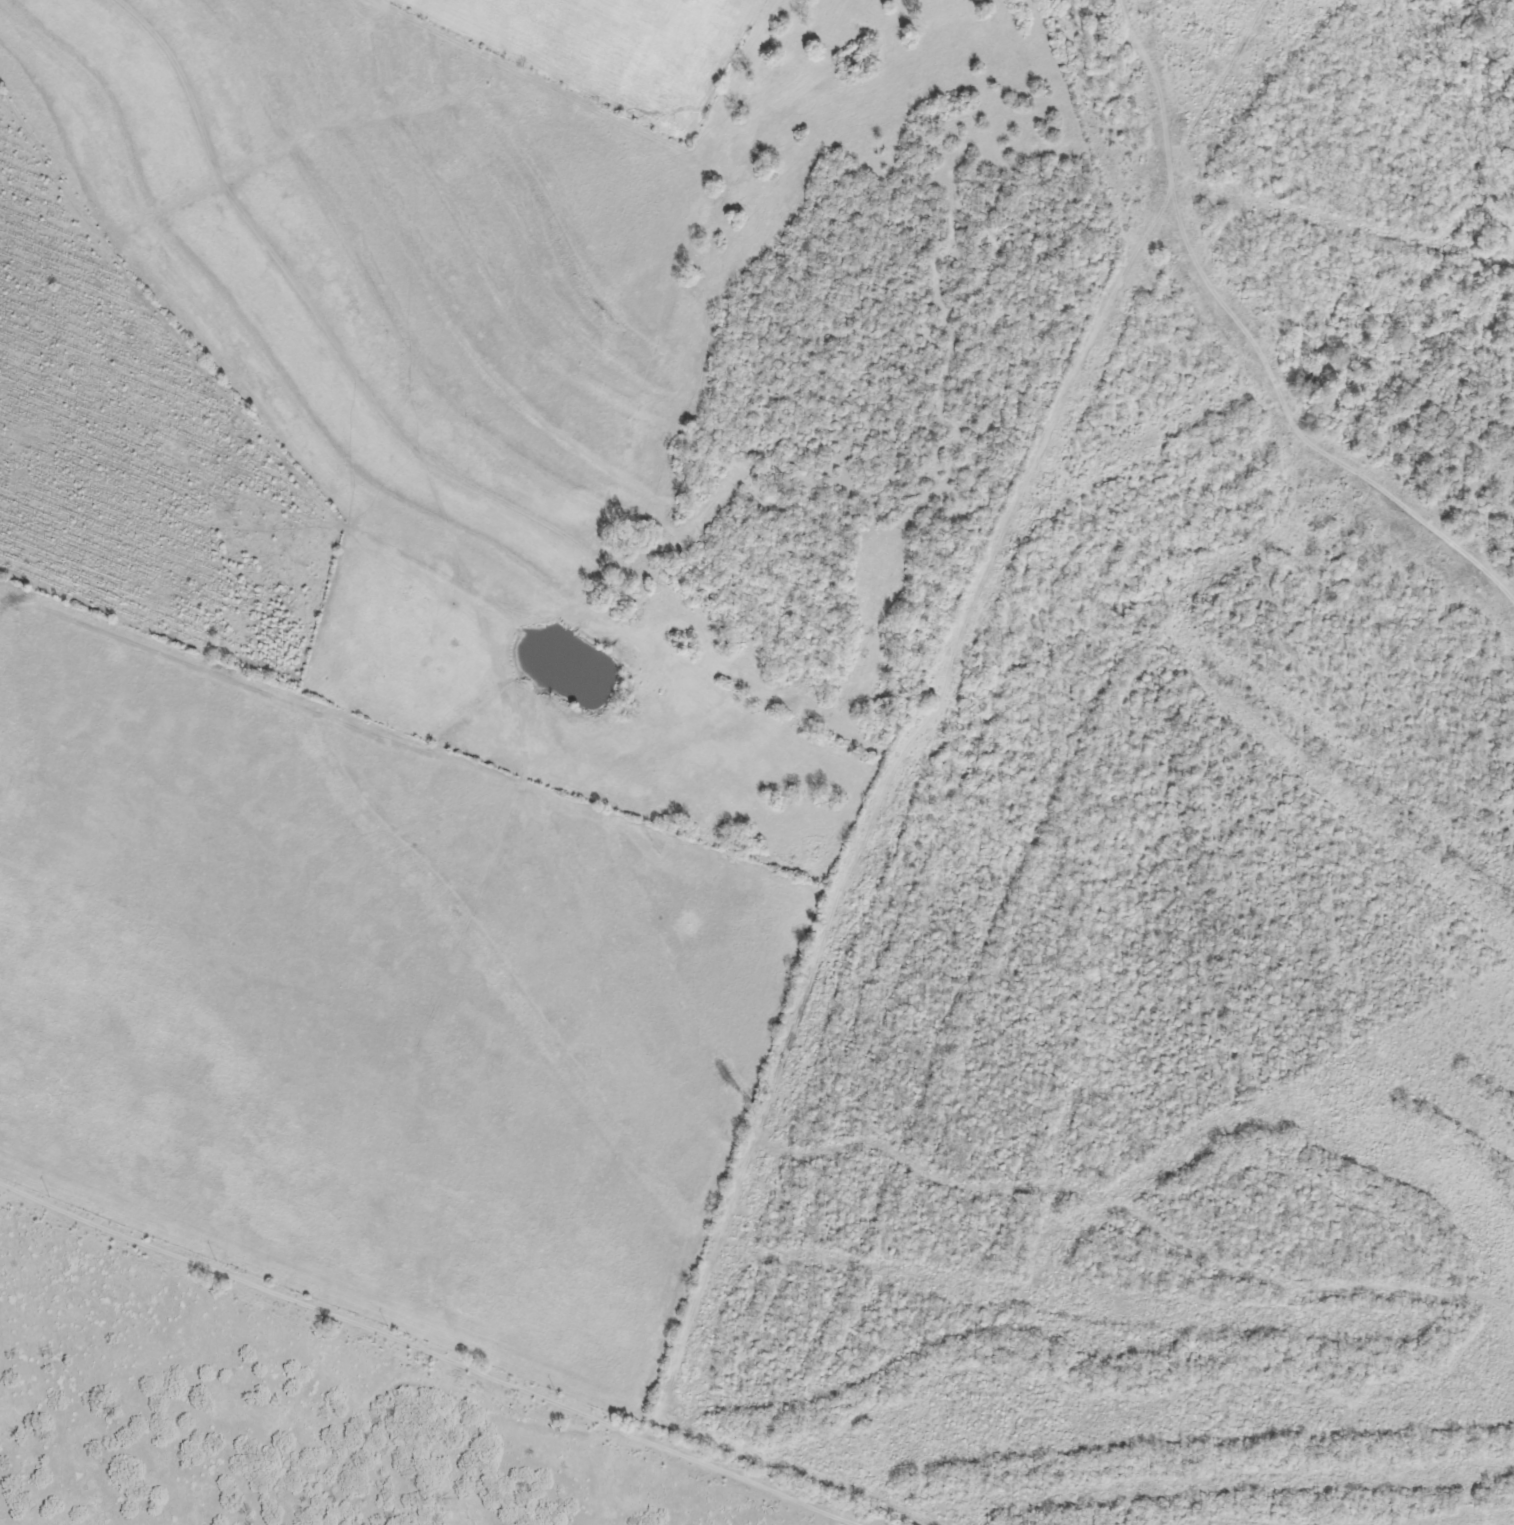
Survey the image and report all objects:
road: (1257, 346)

